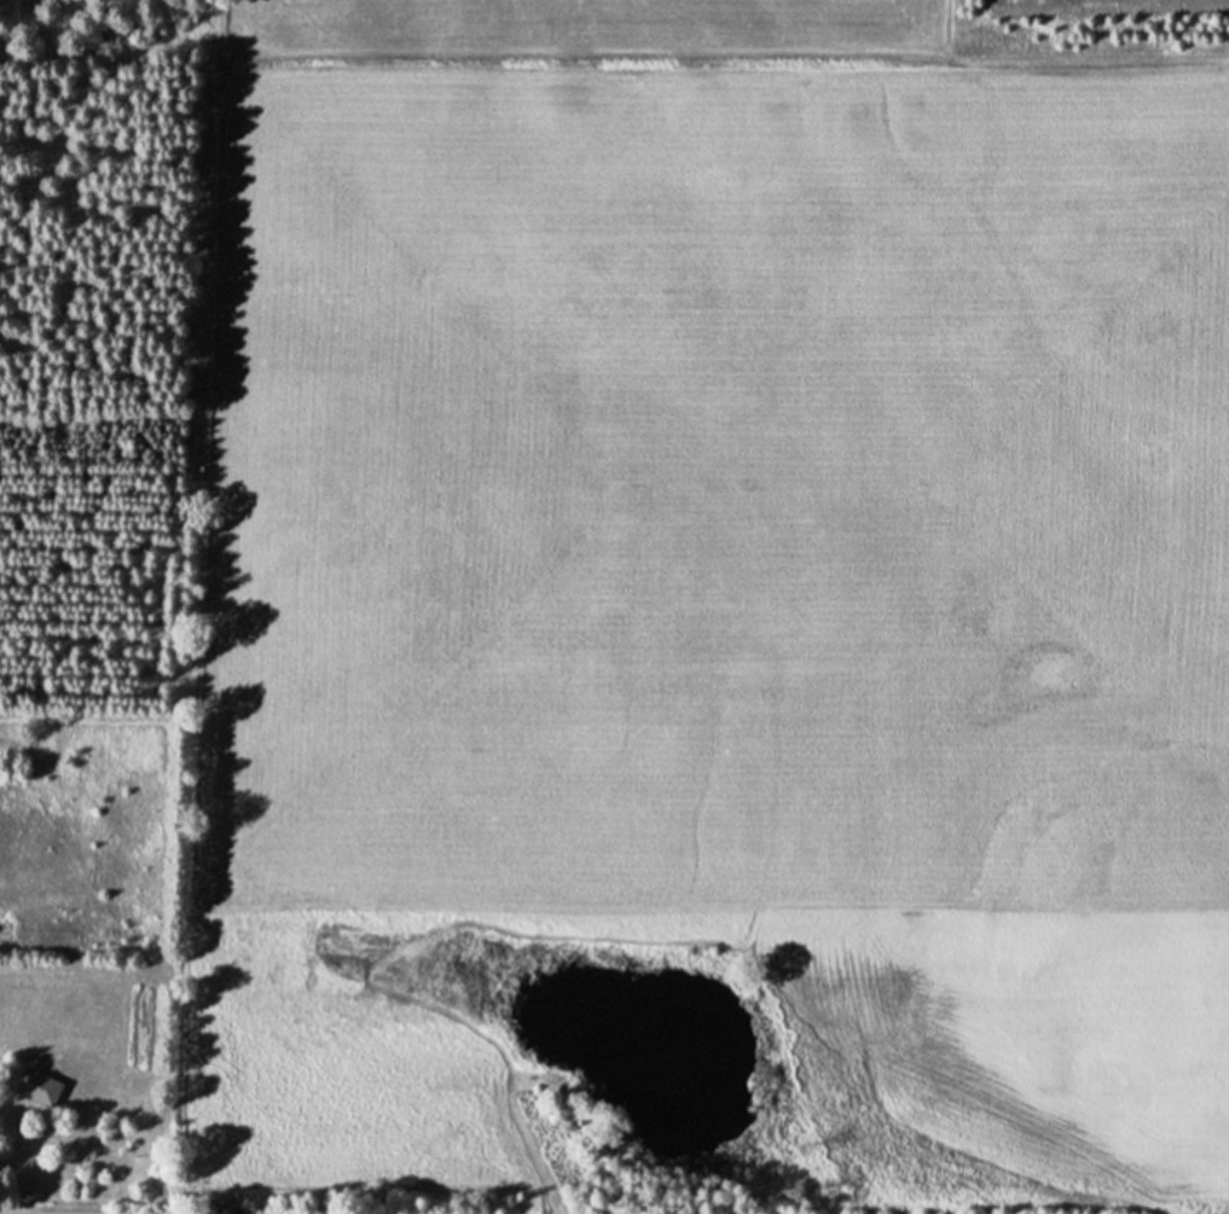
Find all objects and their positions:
building: (33, 1087)

